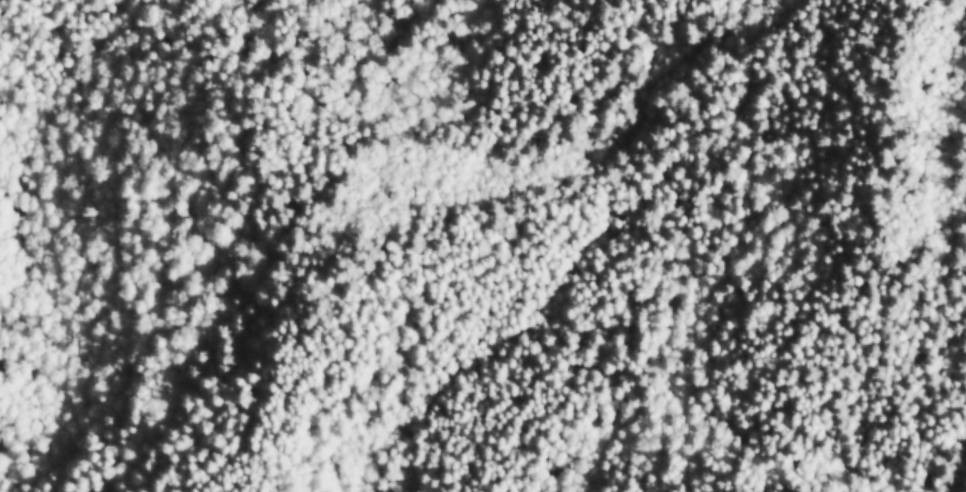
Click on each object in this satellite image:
road: (944, 228)

